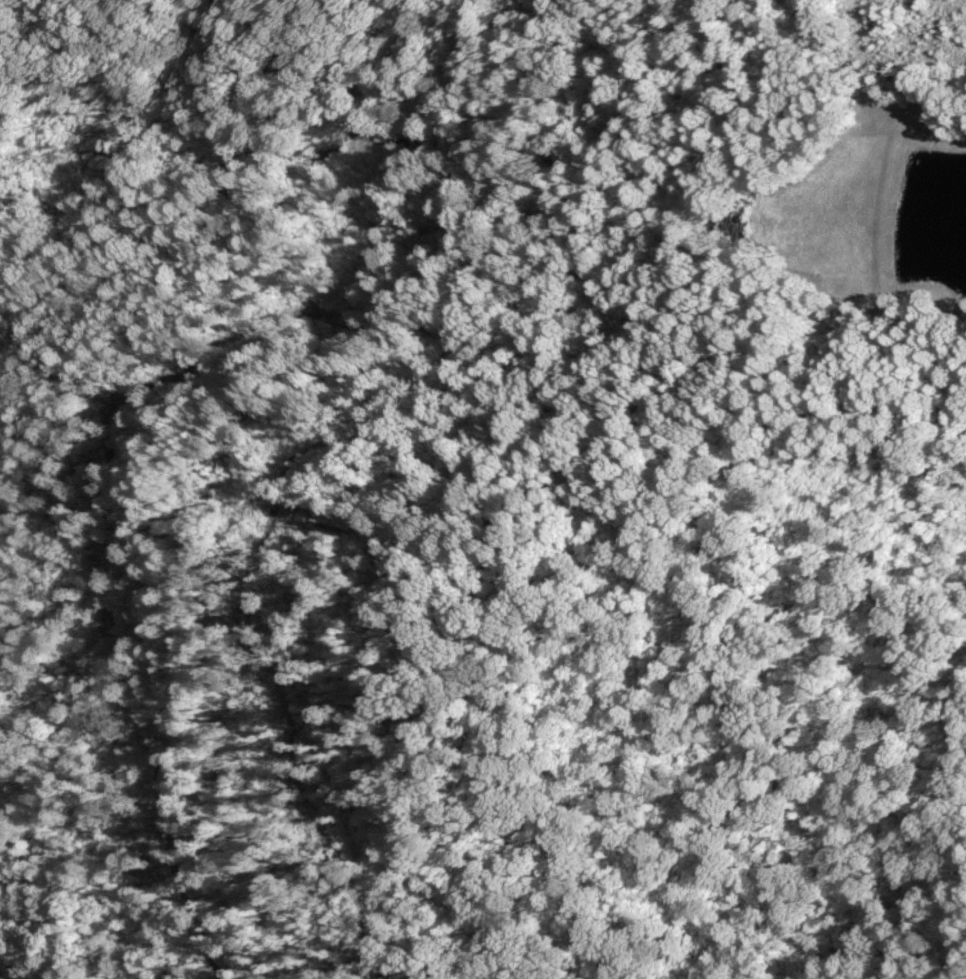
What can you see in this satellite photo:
road: (10, 960)

